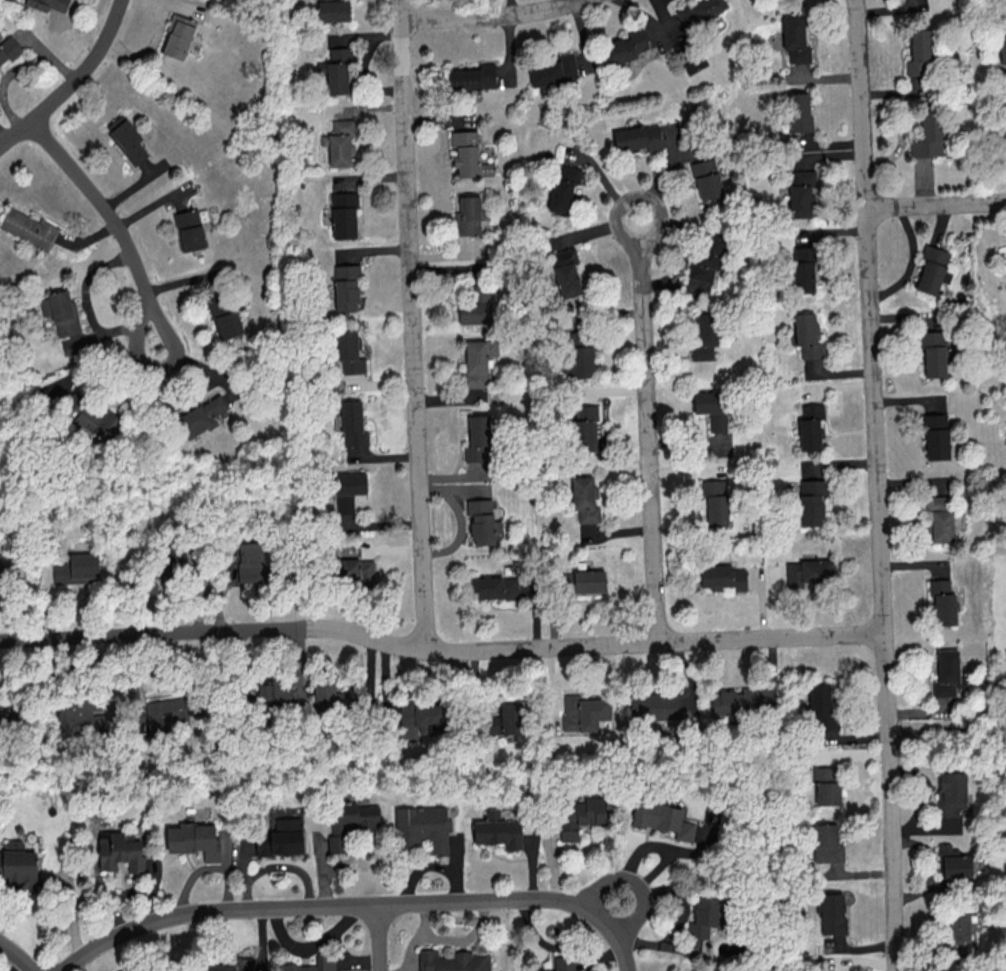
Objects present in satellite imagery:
building: (48, 4)
building: (333, 10)
building: (699, 12)
road: (485, 15)
building: (181, 35)
building: (795, 39)
building: (625, 47)
building: (1003, 48)
building: (9, 49)
building: (919, 52)
building: (554, 70)
building: (336, 71)
building: (473, 77)
road: (73, 83)
building: (798, 111)
building: (929, 134)
building: (638, 137)
building: (1004, 137)
building: (126, 139)
building: (341, 142)
building: (468, 155)
building: (708, 177)
building: (563, 187)
building: (801, 194)
road: (937, 204)
building: (344, 214)
building: (468, 216)
road: (112, 223)
building: (28, 228)
building: (189, 230)
building: (707, 258)
building: (803, 269)
building: (933, 269)
building: (566, 272)
building: (346, 287)
building: (475, 309)
building: (61, 311)
building: (224, 315)
road: (412, 325)
building: (703, 335)
building: (807, 335)
building: (349, 351)
building: (933, 352)
building: (580, 355)
building: (478, 361)
building: (712, 408)
building: (95, 416)
building: (201, 416)
building: (353, 424)
building: (810, 426)
building: (584, 428)
road: (647, 430)
building: (936, 436)
building: (478, 438)
road: (877, 485)
building: (348, 490)
building: (584, 499)
building: (716, 501)
building: (812, 501)
building: (941, 518)
building: (481, 521)
building: (255, 561)
building: (1, 565)
building: (77, 568)
building: (354, 569)
building: (807, 572)
building: (723, 576)
building: (589, 581)
building: (494, 586)
building: (942, 602)
road: (439, 649)
building: (946, 673)
building: (331, 697)
building: (735, 701)
building: (655, 705)
building: (822, 707)
building: (9, 711)
building: (167, 712)
building: (583, 712)
building: (80, 714)
building: (430, 716)
building: (828, 793)
building: (950, 800)
building: (354, 815)
building: (581, 816)
building: (663, 817)
building: (422, 827)
building: (498, 830)
building: (281, 837)
building: (194, 839)
building: (336, 843)
building: (827, 843)
building: (121, 851)
building: (952, 862)
building: (0, 864)
building: (19, 864)
road: (635, 883)
road: (356, 907)
building: (832, 913)
building: (707, 925)
road: (377, 939)
road: (16, 957)
building: (453, 961)
building: (312, 964)
building: (564, 964)
building: (230, 966)

